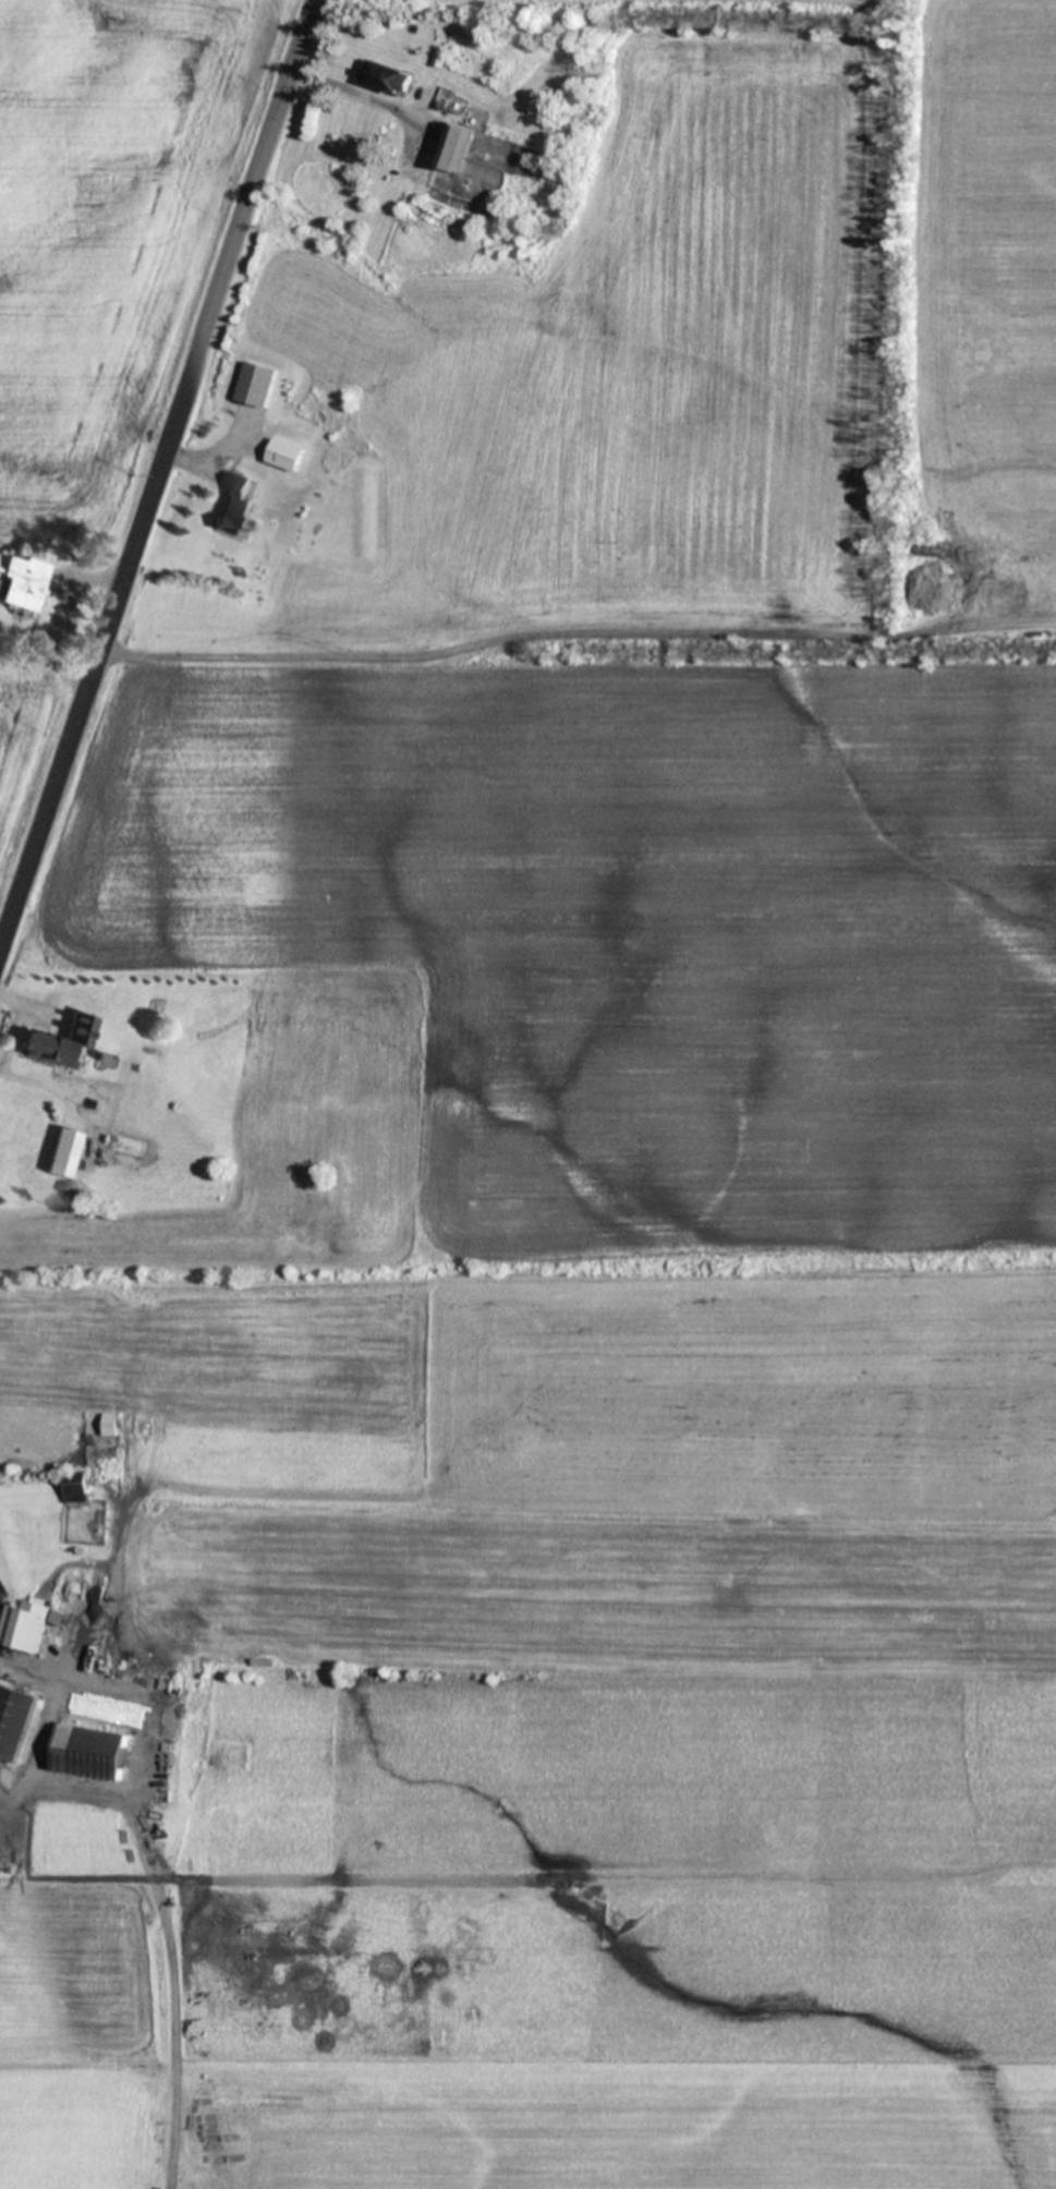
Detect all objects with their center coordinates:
building: (478, 66)
building: (390, 78)
building: (456, 147)
building: (256, 385)
building: (286, 456)
road: (157, 473)
building: (234, 507)
building: (20, 582)
building: (43, 1047)
building: (60, 1151)
building: (75, 1486)
building: (26, 1624)
road: (49, 1717)
building: (14, 1720)
building: (89, 1752)

